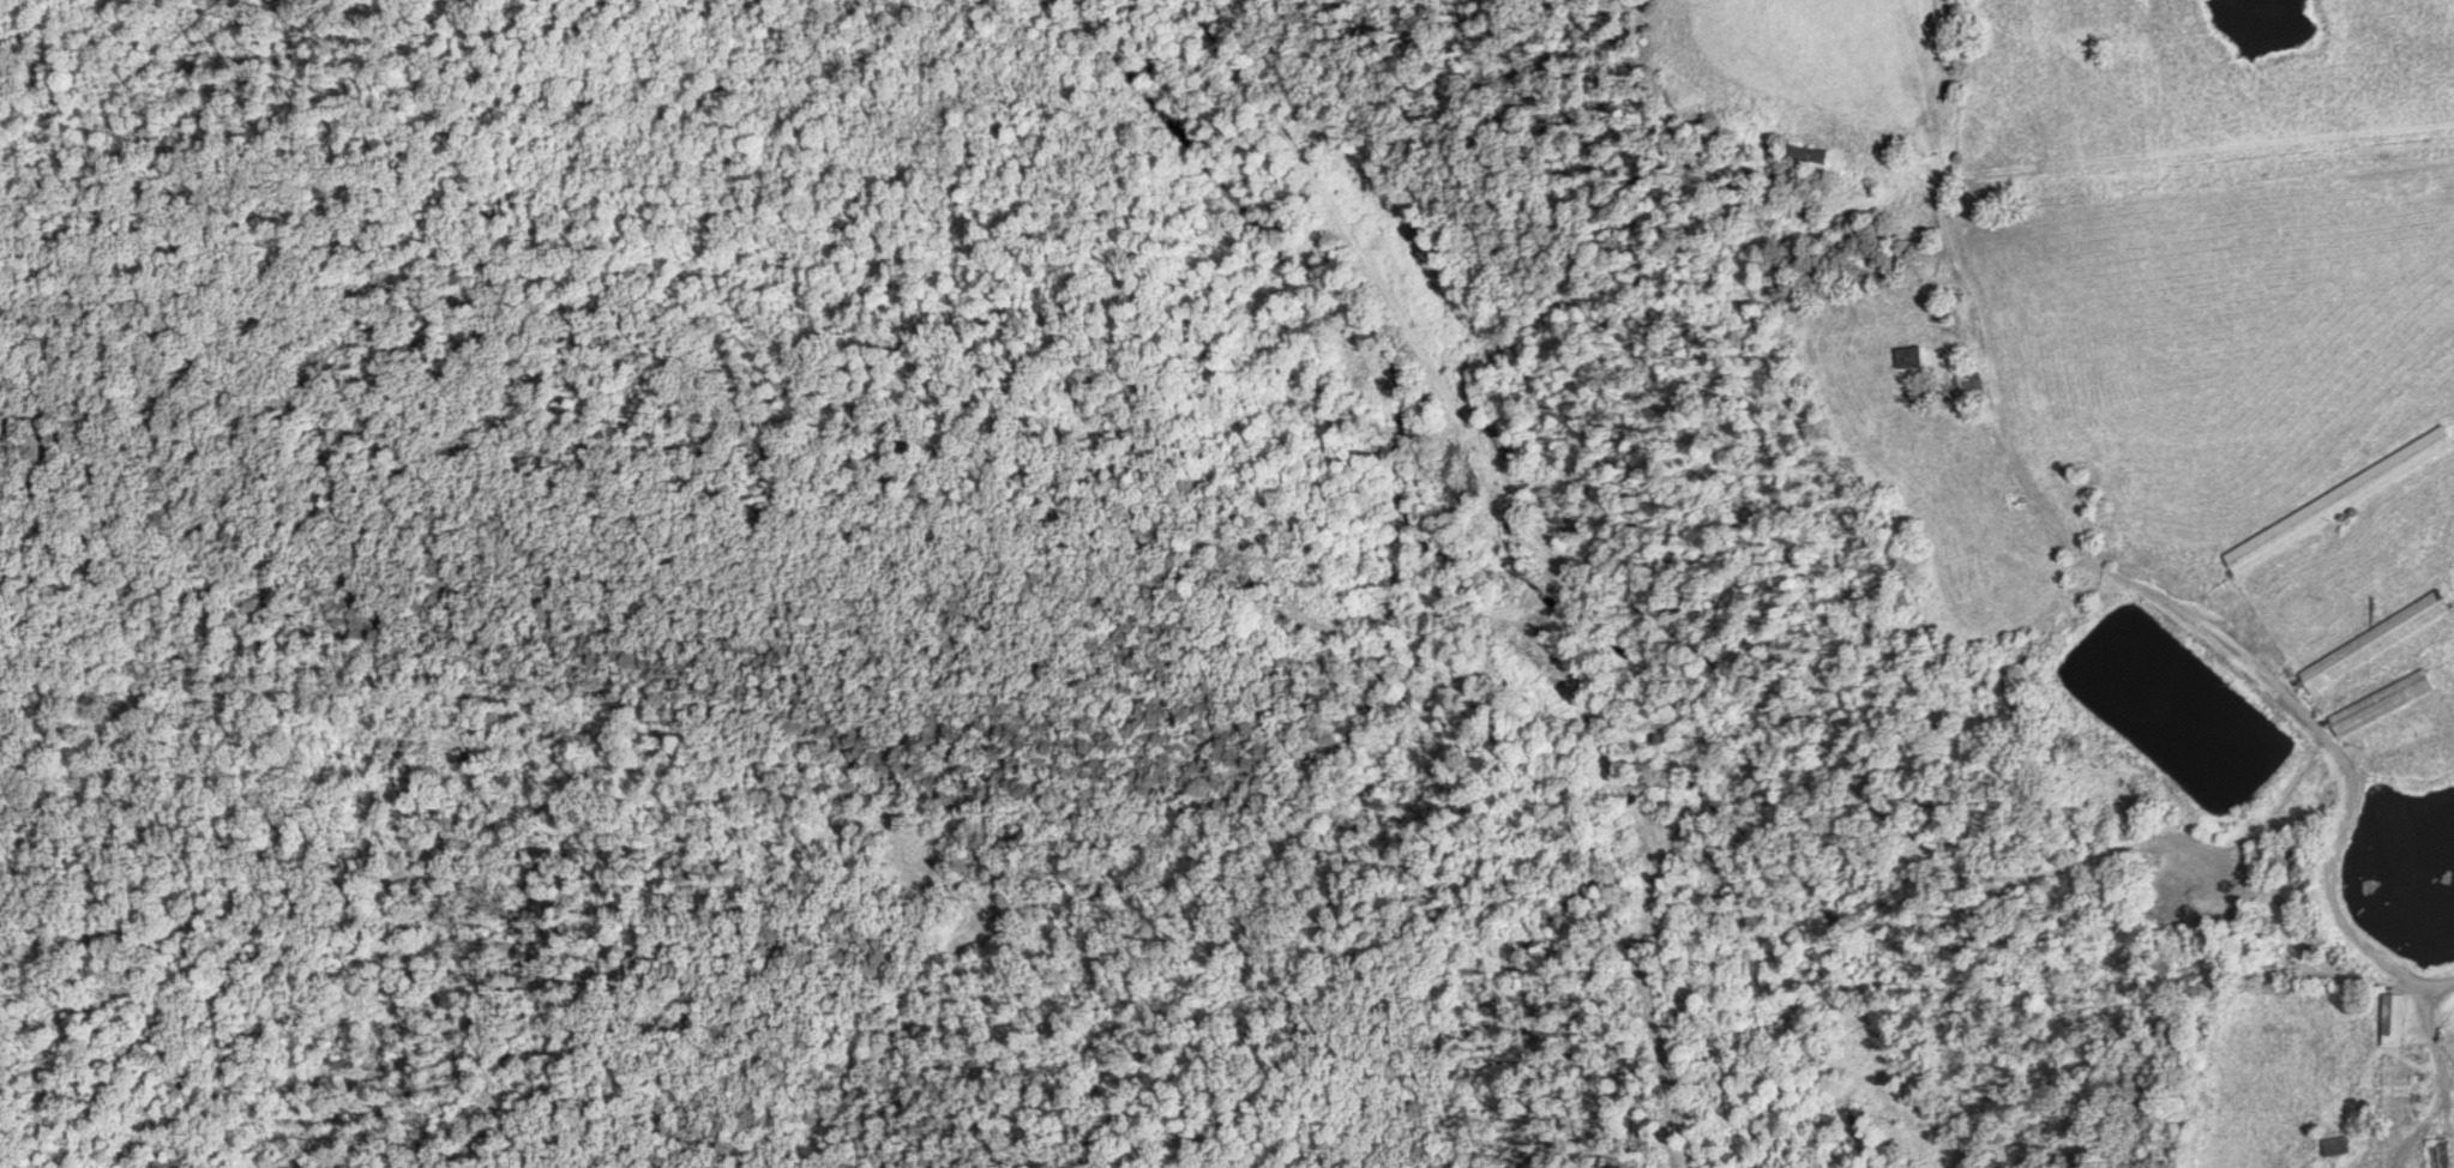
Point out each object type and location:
building: (1800, 152)
building: (1901, 359)
building: (1942, 393)
building: (2370, 642)
building: (2377, 704)
road: (2339, 837)
building: (2274, 854)
road: (2440, 986)
building: (2388, 1021)
building: (2329, 1146)
building: (2435, 1154)

